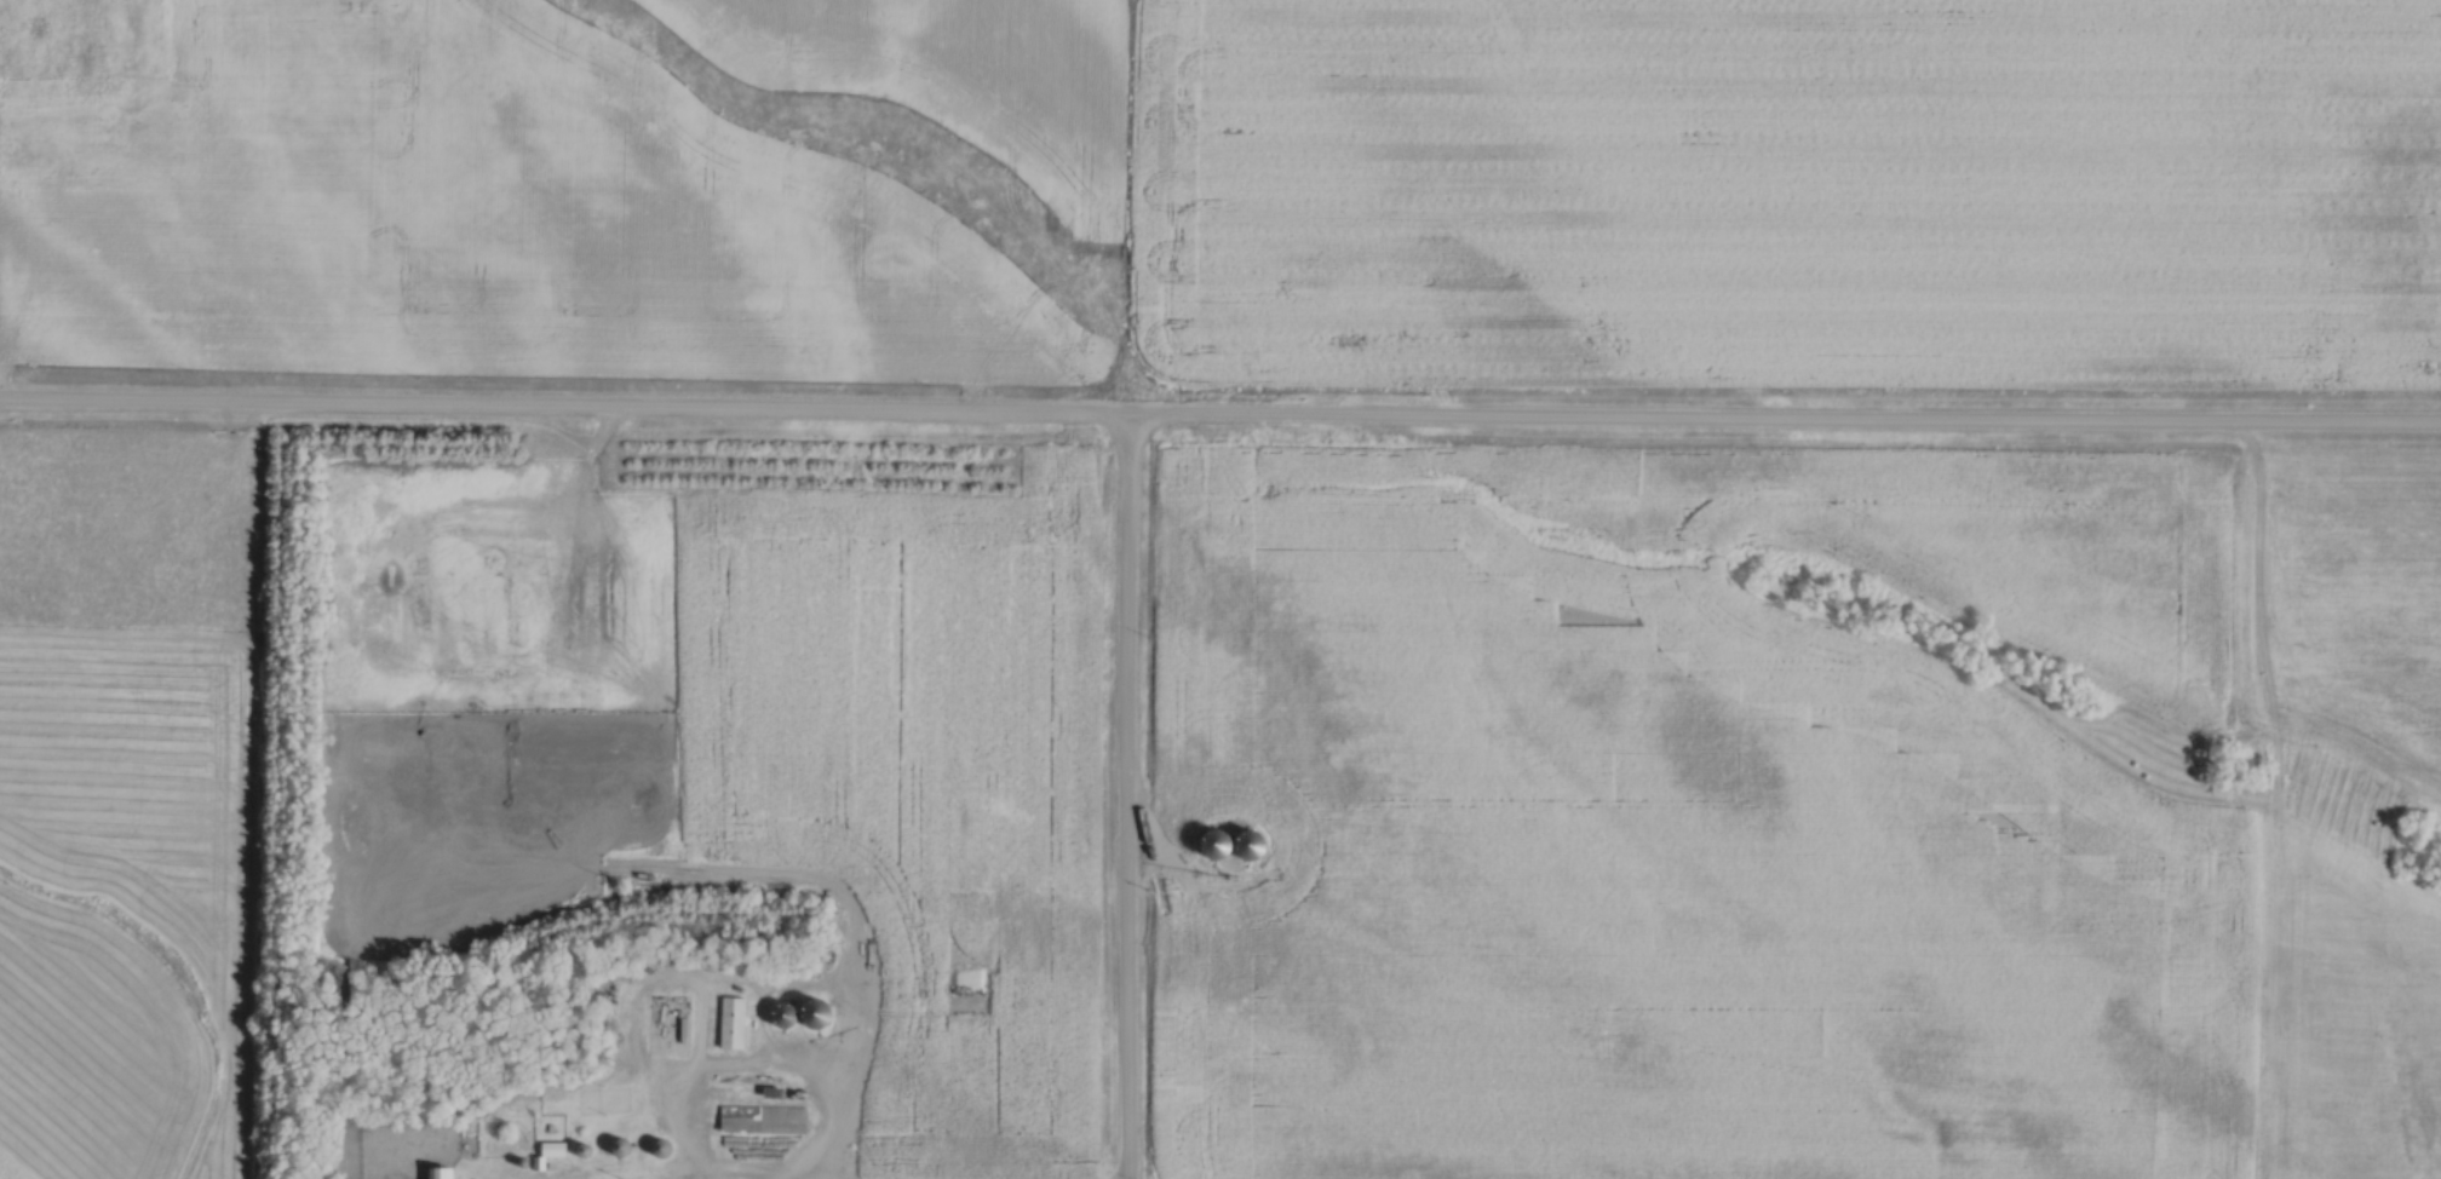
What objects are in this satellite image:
building: (40, 27)
road: (1219, 418)
road: (1126, 798)
building: (1223, 844)
building: (733, 1023)
building: (762, 1120)
building: (444, 1173)

